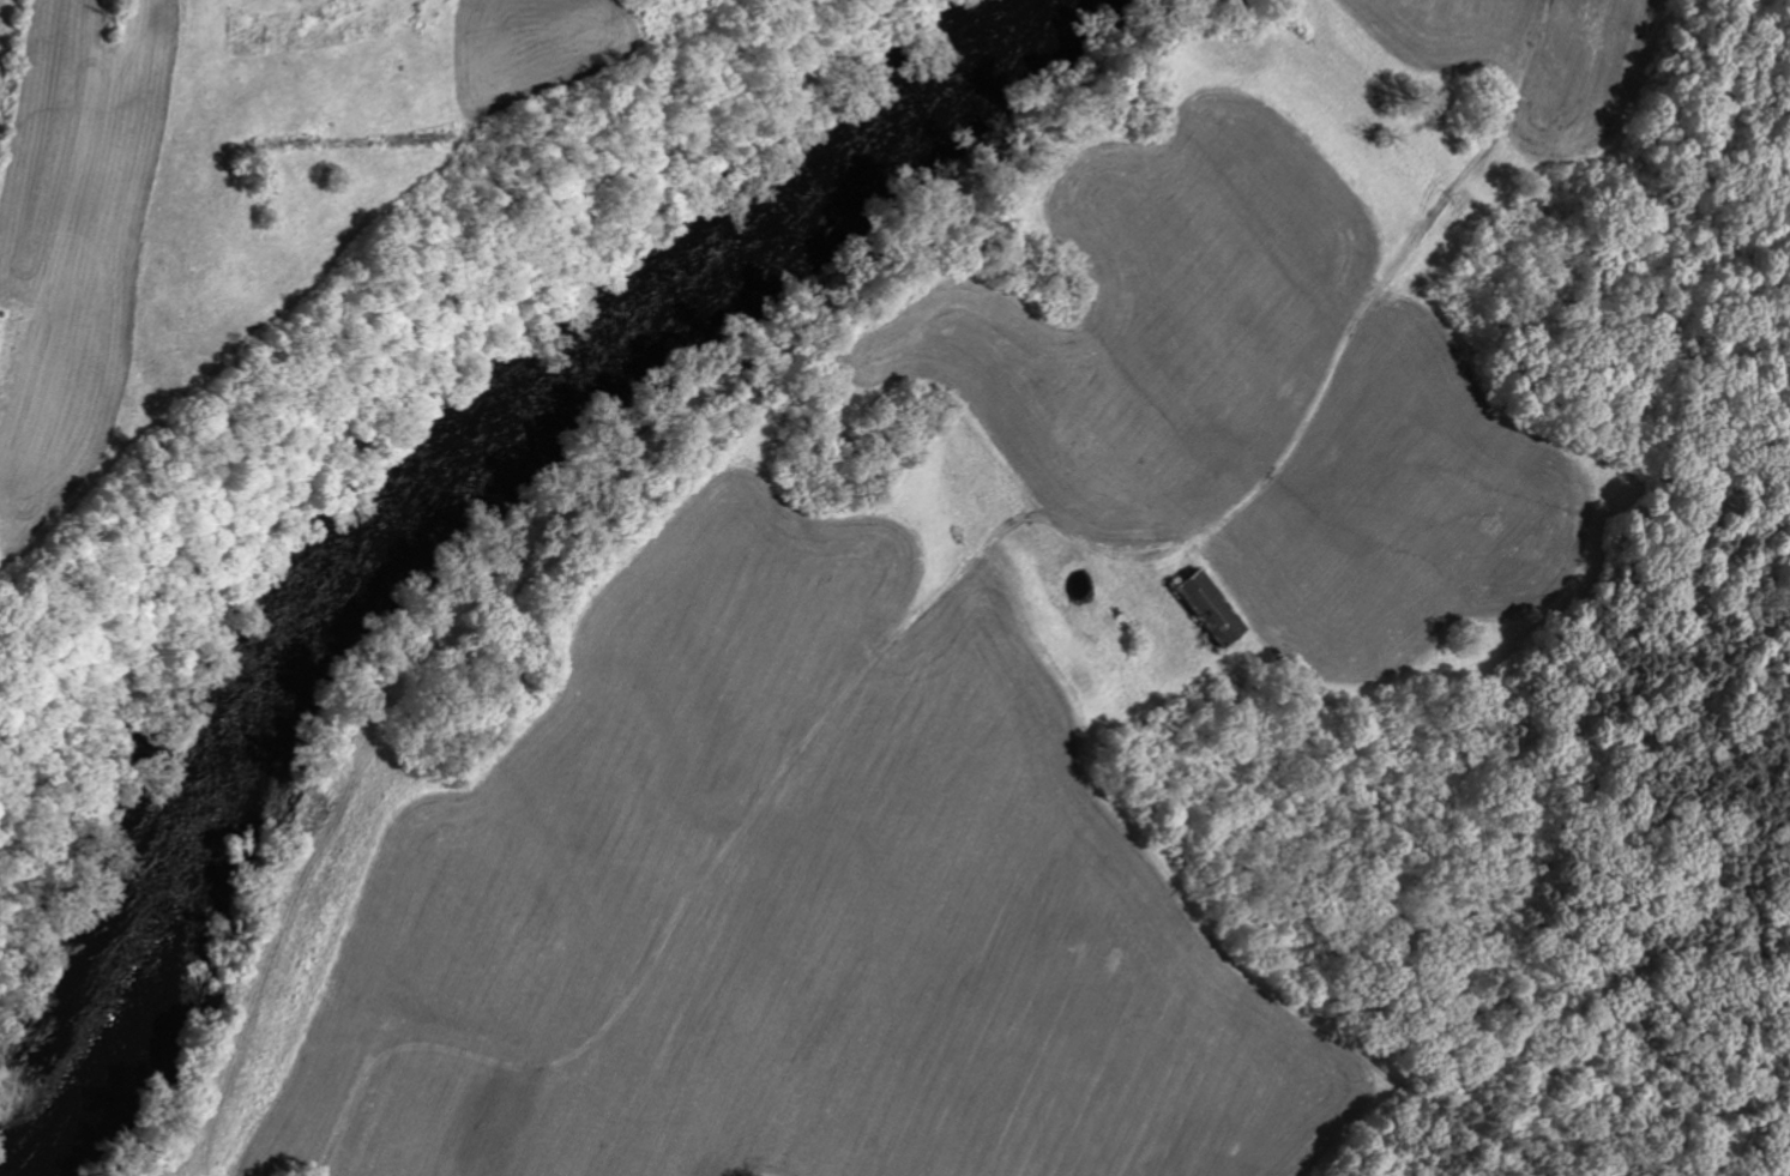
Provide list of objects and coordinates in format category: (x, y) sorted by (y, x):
river: (364, 480)
building: (1207, 609)

